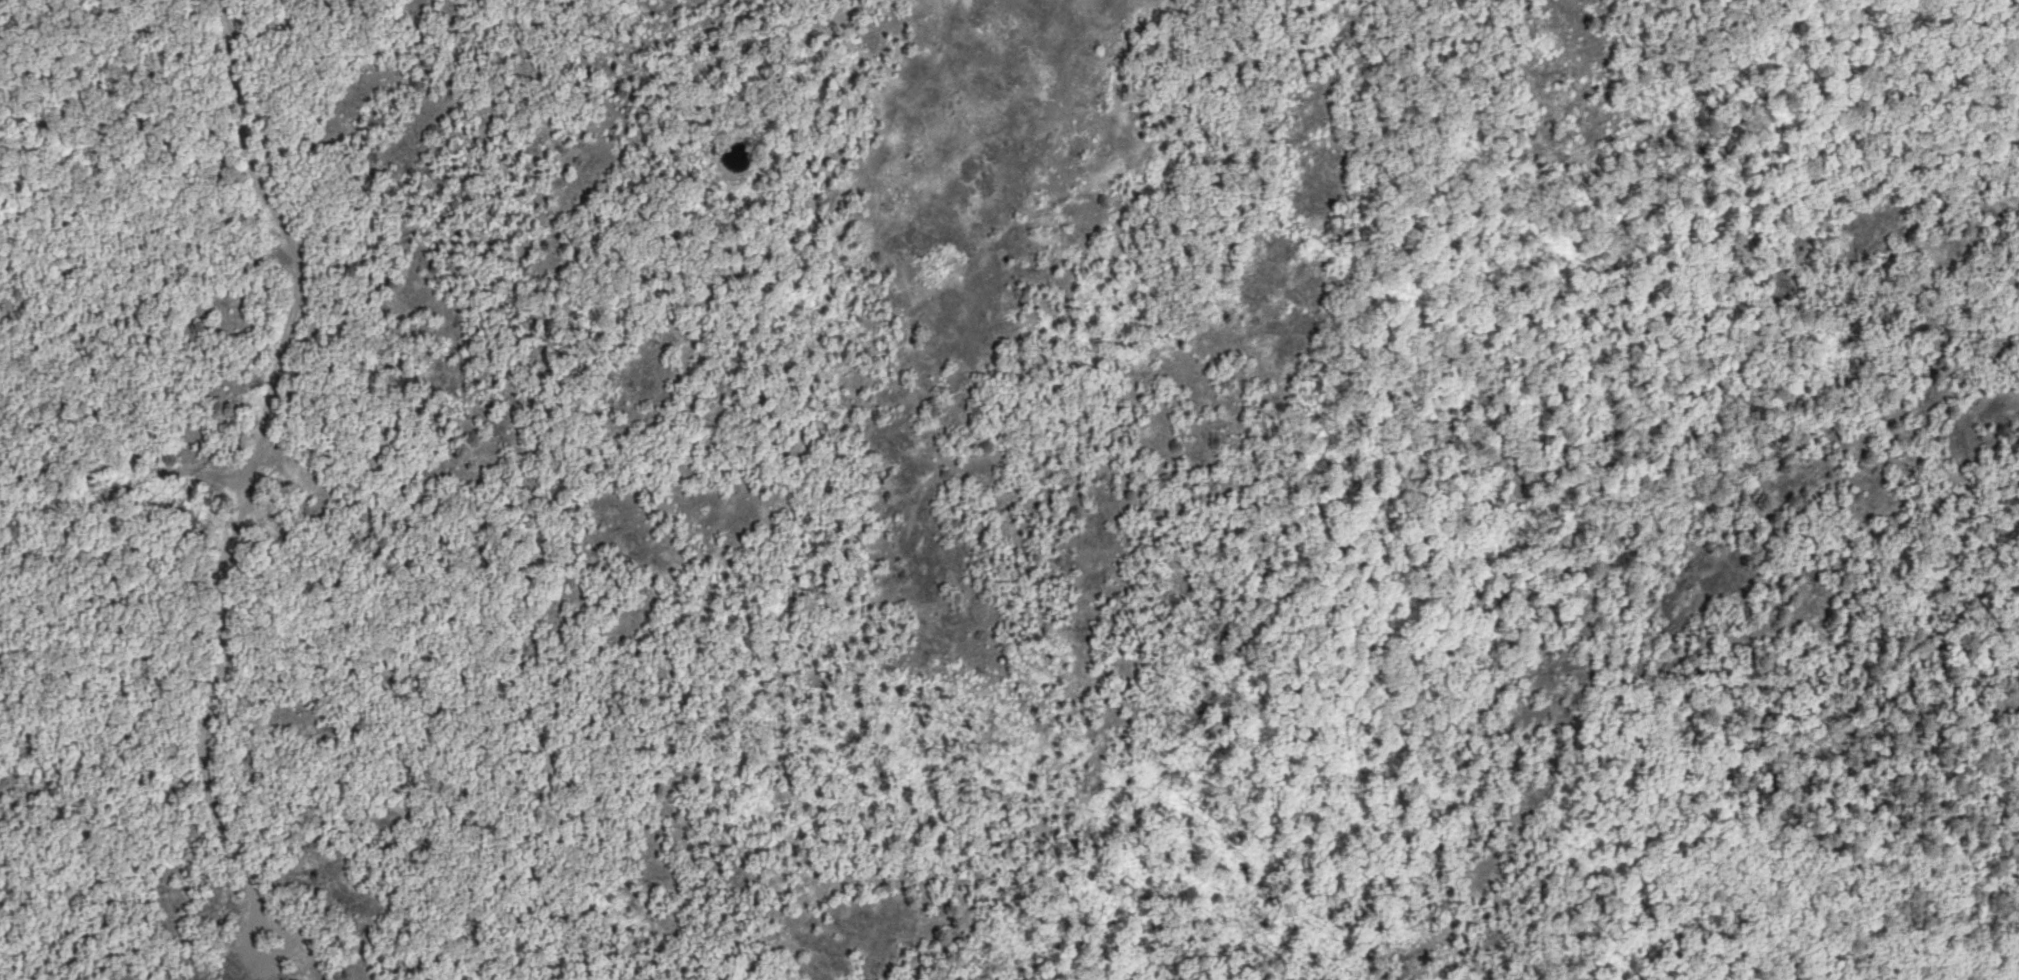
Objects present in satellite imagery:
road: (256, 463)
road: (770, 469)
road: (1134, 780)

